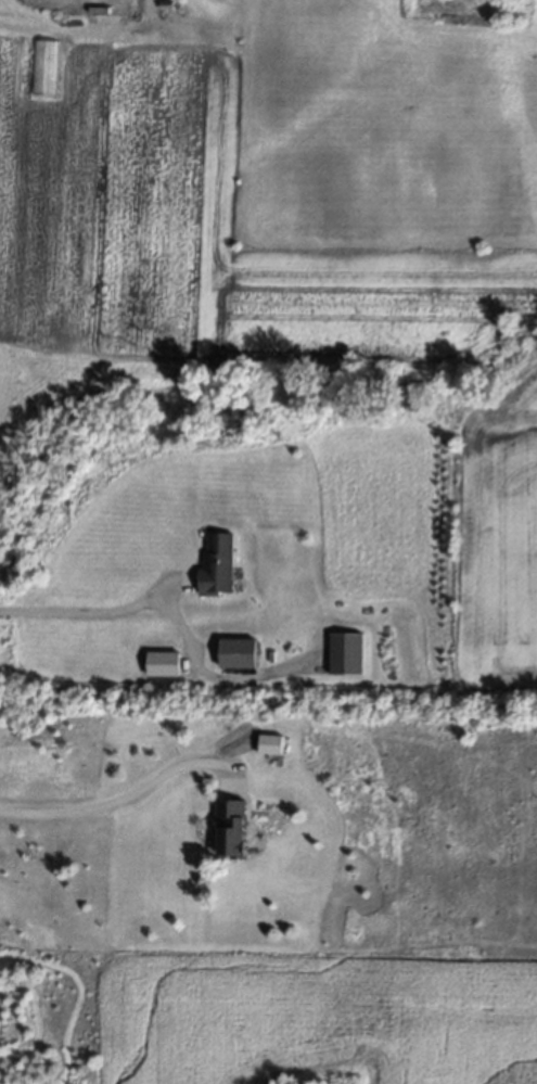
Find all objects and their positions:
building: (44, 67)
crop: (276, 193)
crop: (497, 543)
building: (217, 565)
road: (95, 615)
building: (236, 653)
building: (345, 654)
building: (162, 664)
building: (269, 744)
road: (115, 805)
building: (231, 828)
crop: (314, 1018)

